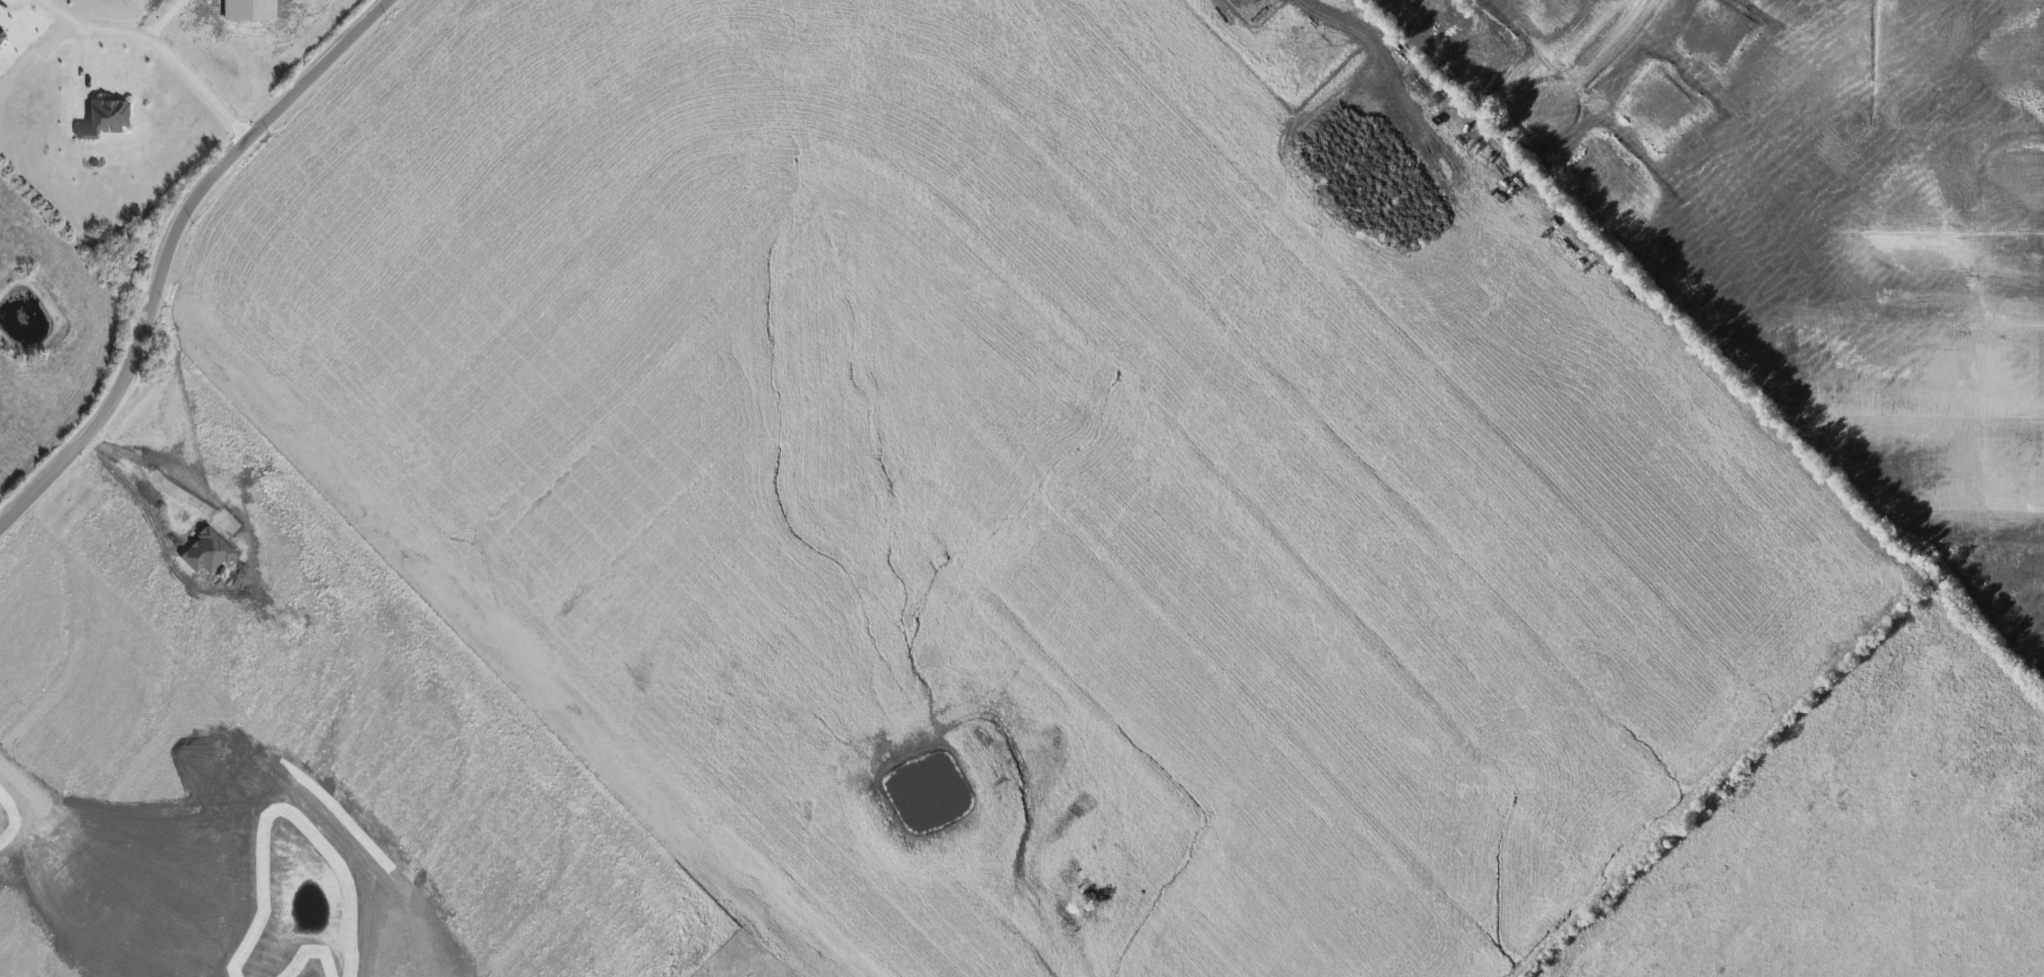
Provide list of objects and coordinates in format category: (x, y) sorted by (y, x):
road: (160, 44)
building: (108, 118)
road: (169, 247)

